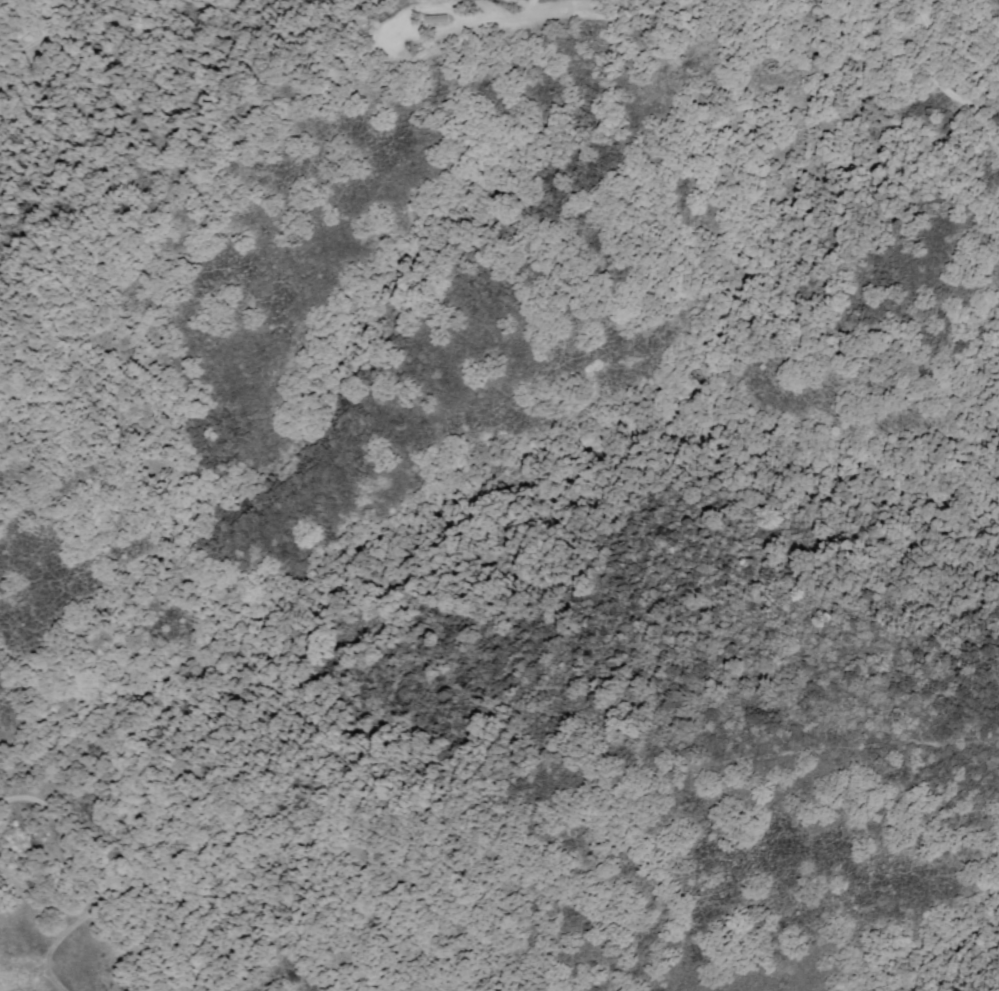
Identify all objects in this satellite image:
road: (930, 13)
road: (606, 14)
road: (505, 18)
building: (439, 19)
road: (37, 33)
road: (939, 88)
road: (844, 749)

